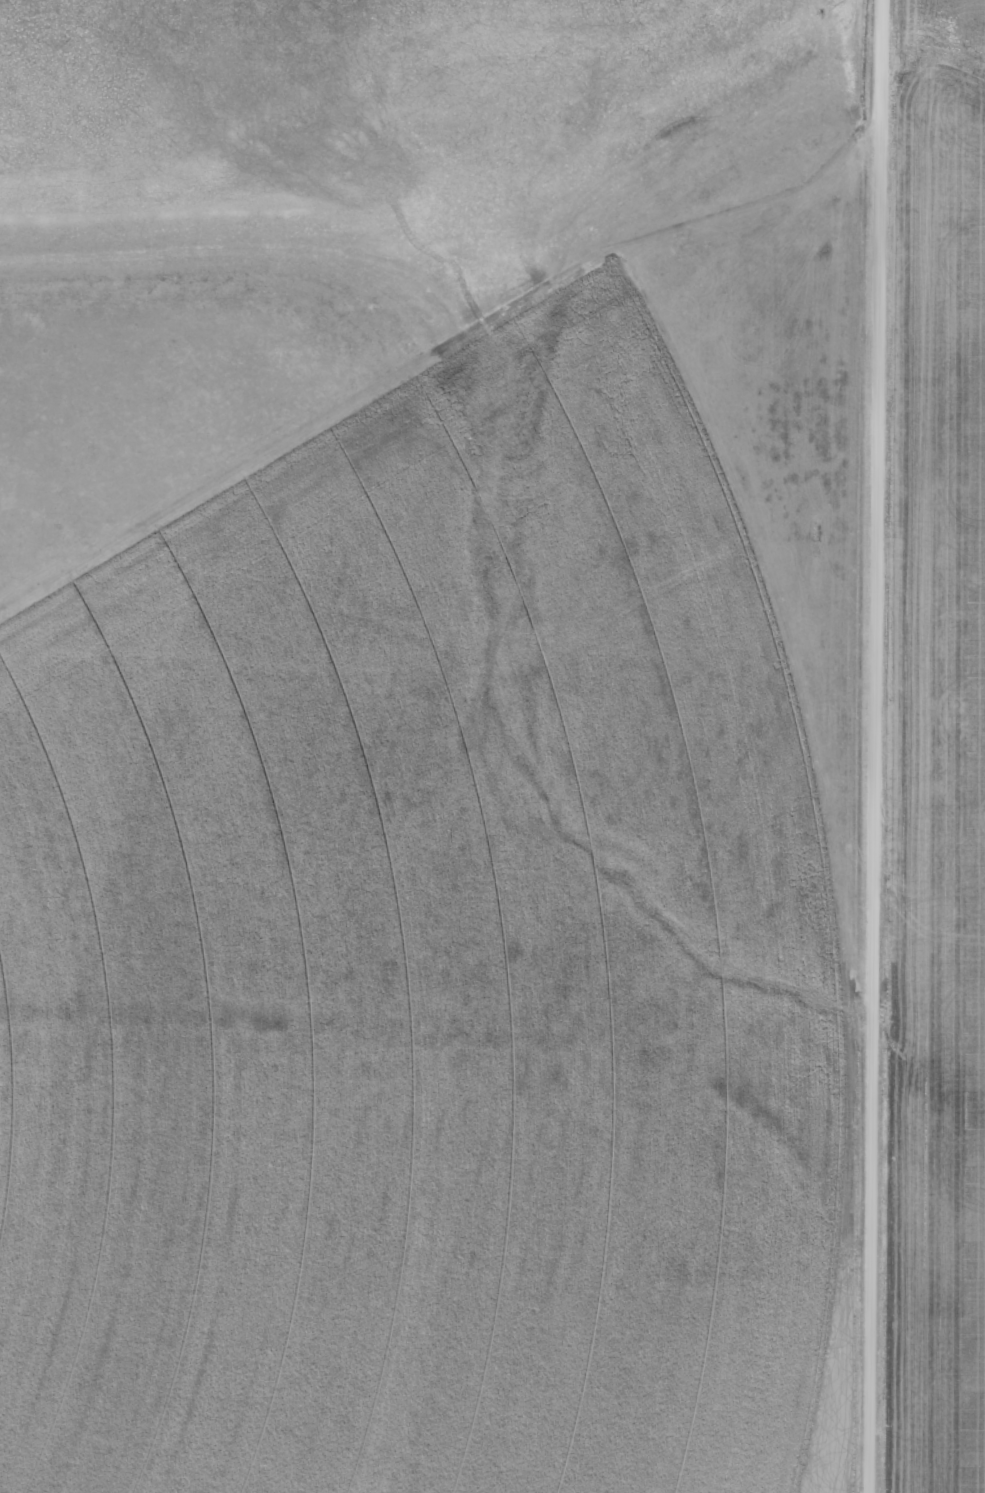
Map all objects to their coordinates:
road: (876, 746)

